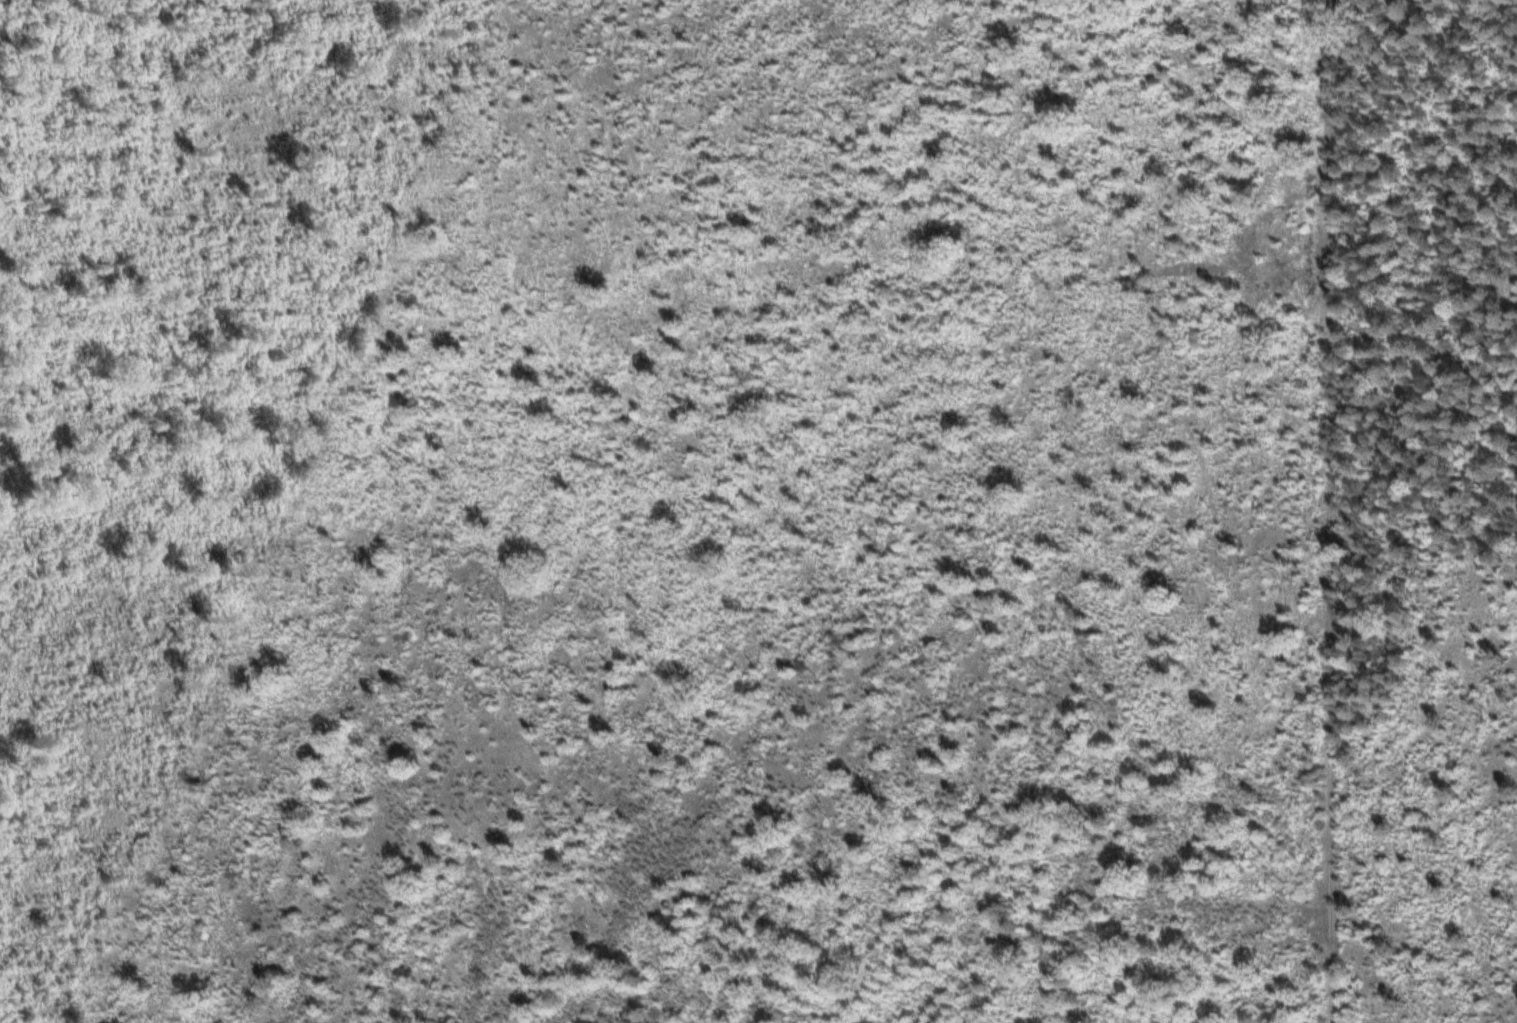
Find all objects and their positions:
road: (59, 267)
road: (1327, 511)

